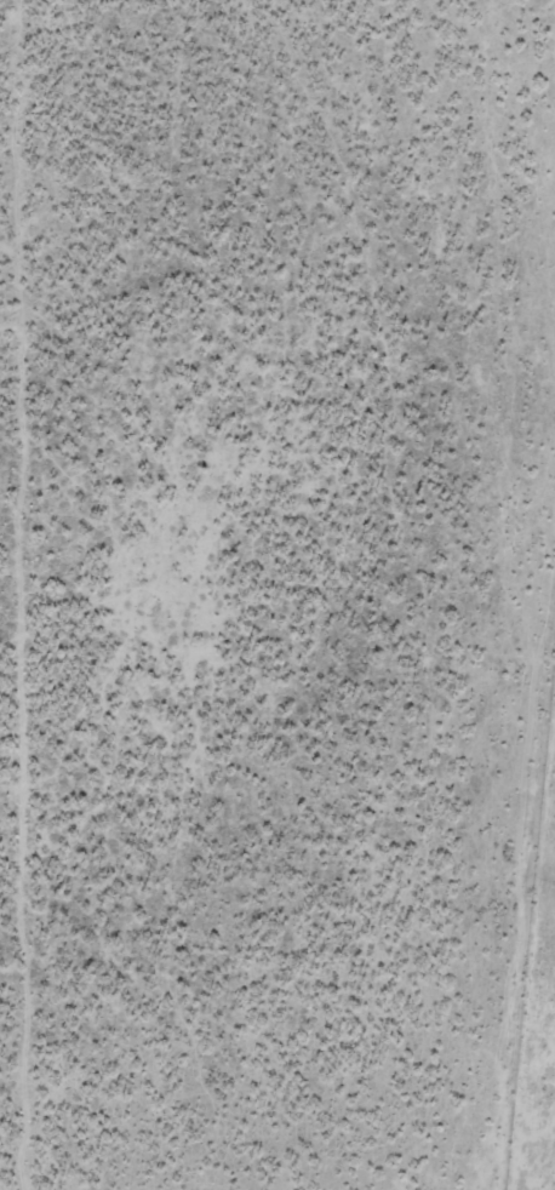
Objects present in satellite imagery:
road: (305, 23)

